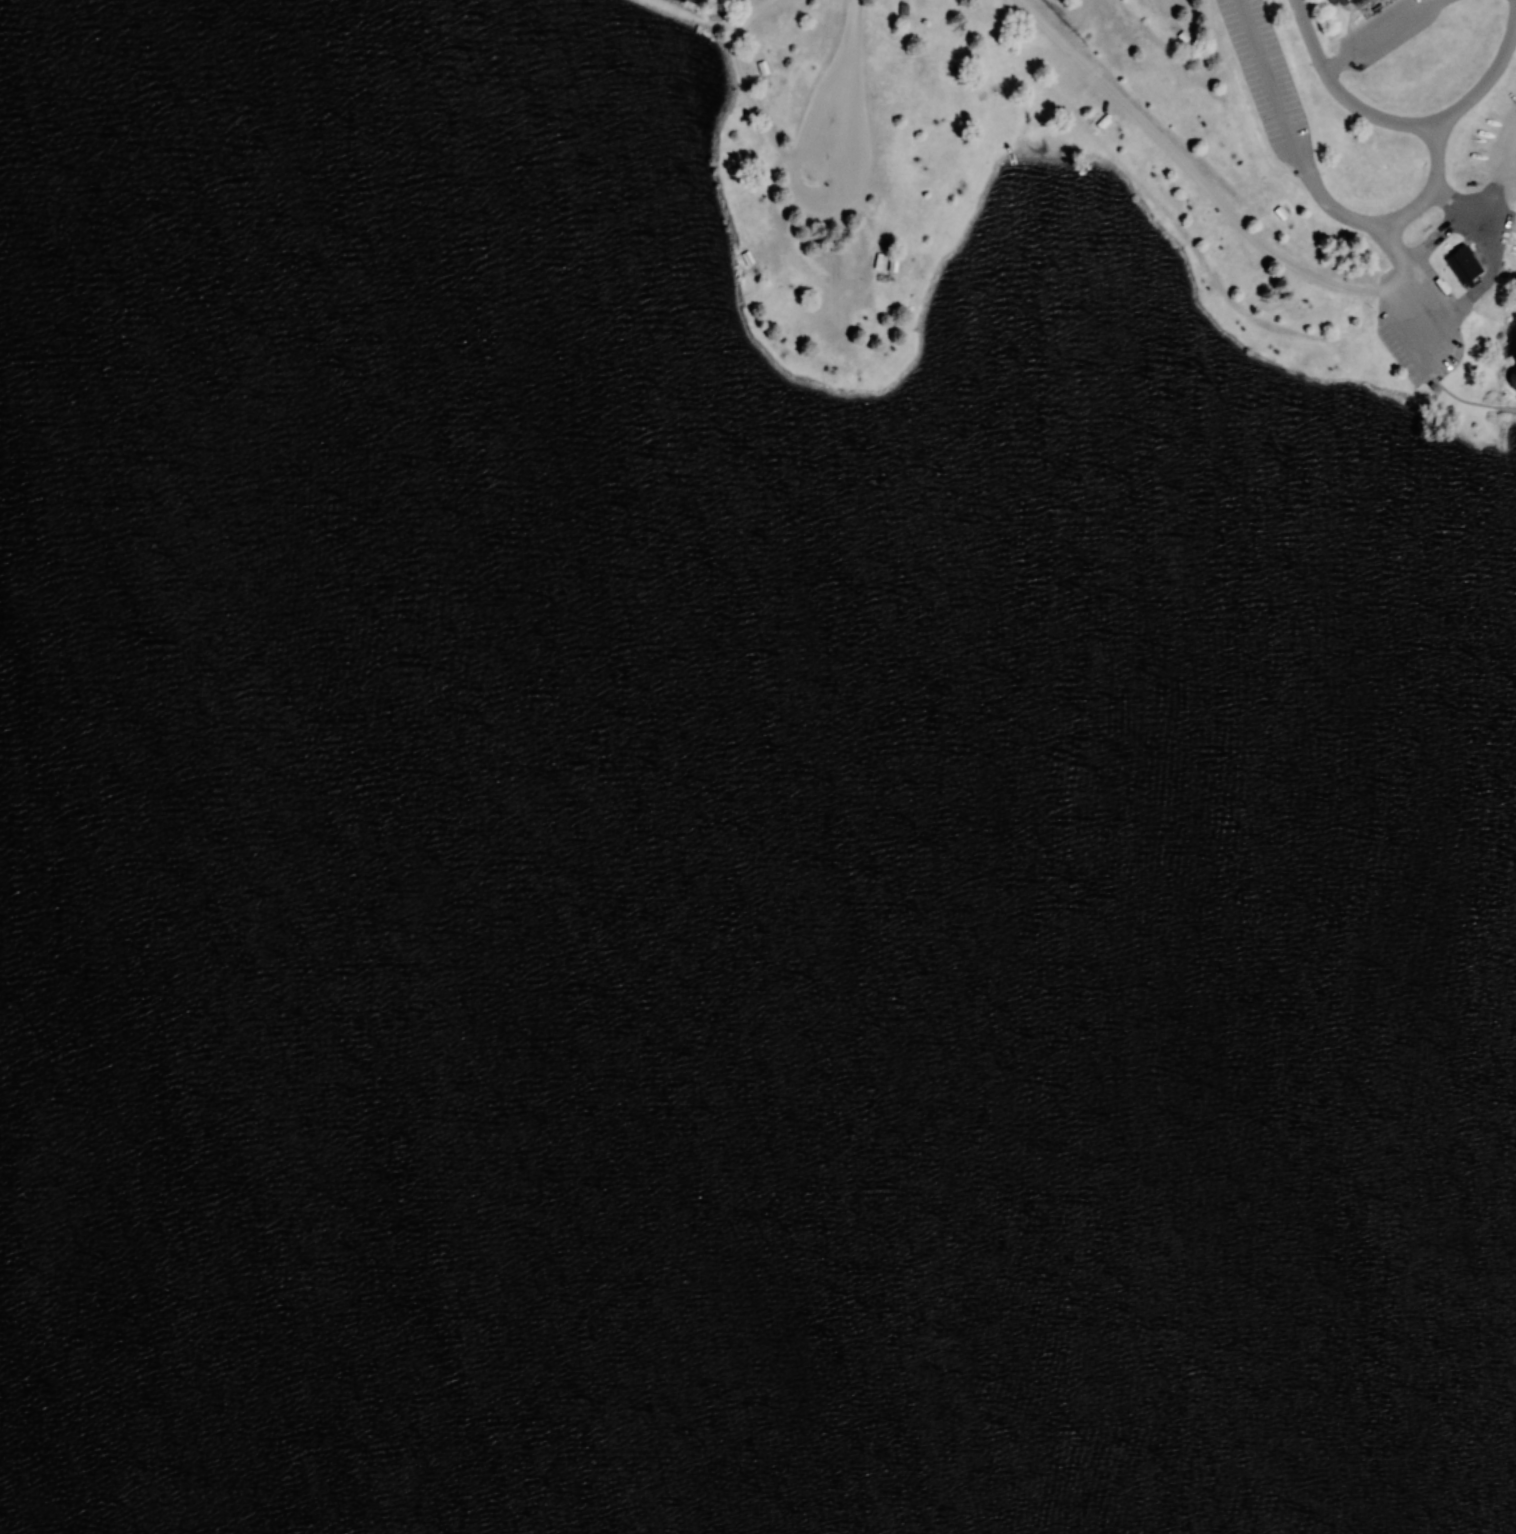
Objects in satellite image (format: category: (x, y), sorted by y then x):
road: (1432, 3)
road: (849, 26)
parking lot: (1383, 31)
road: (1387, 31)
road: (1334, 64)
parking lot: (1267, 83)
road: (1335, 93)
road: (1184, 166)
road: (849, 177)
road: (1484, 193)
road: (1378, 226)
road: (1386, 239)
building: (1463, 265)
road: (1444, 311)
parking lot: (1418, 316)
park: (758, 767)
river: (298, 1260)

